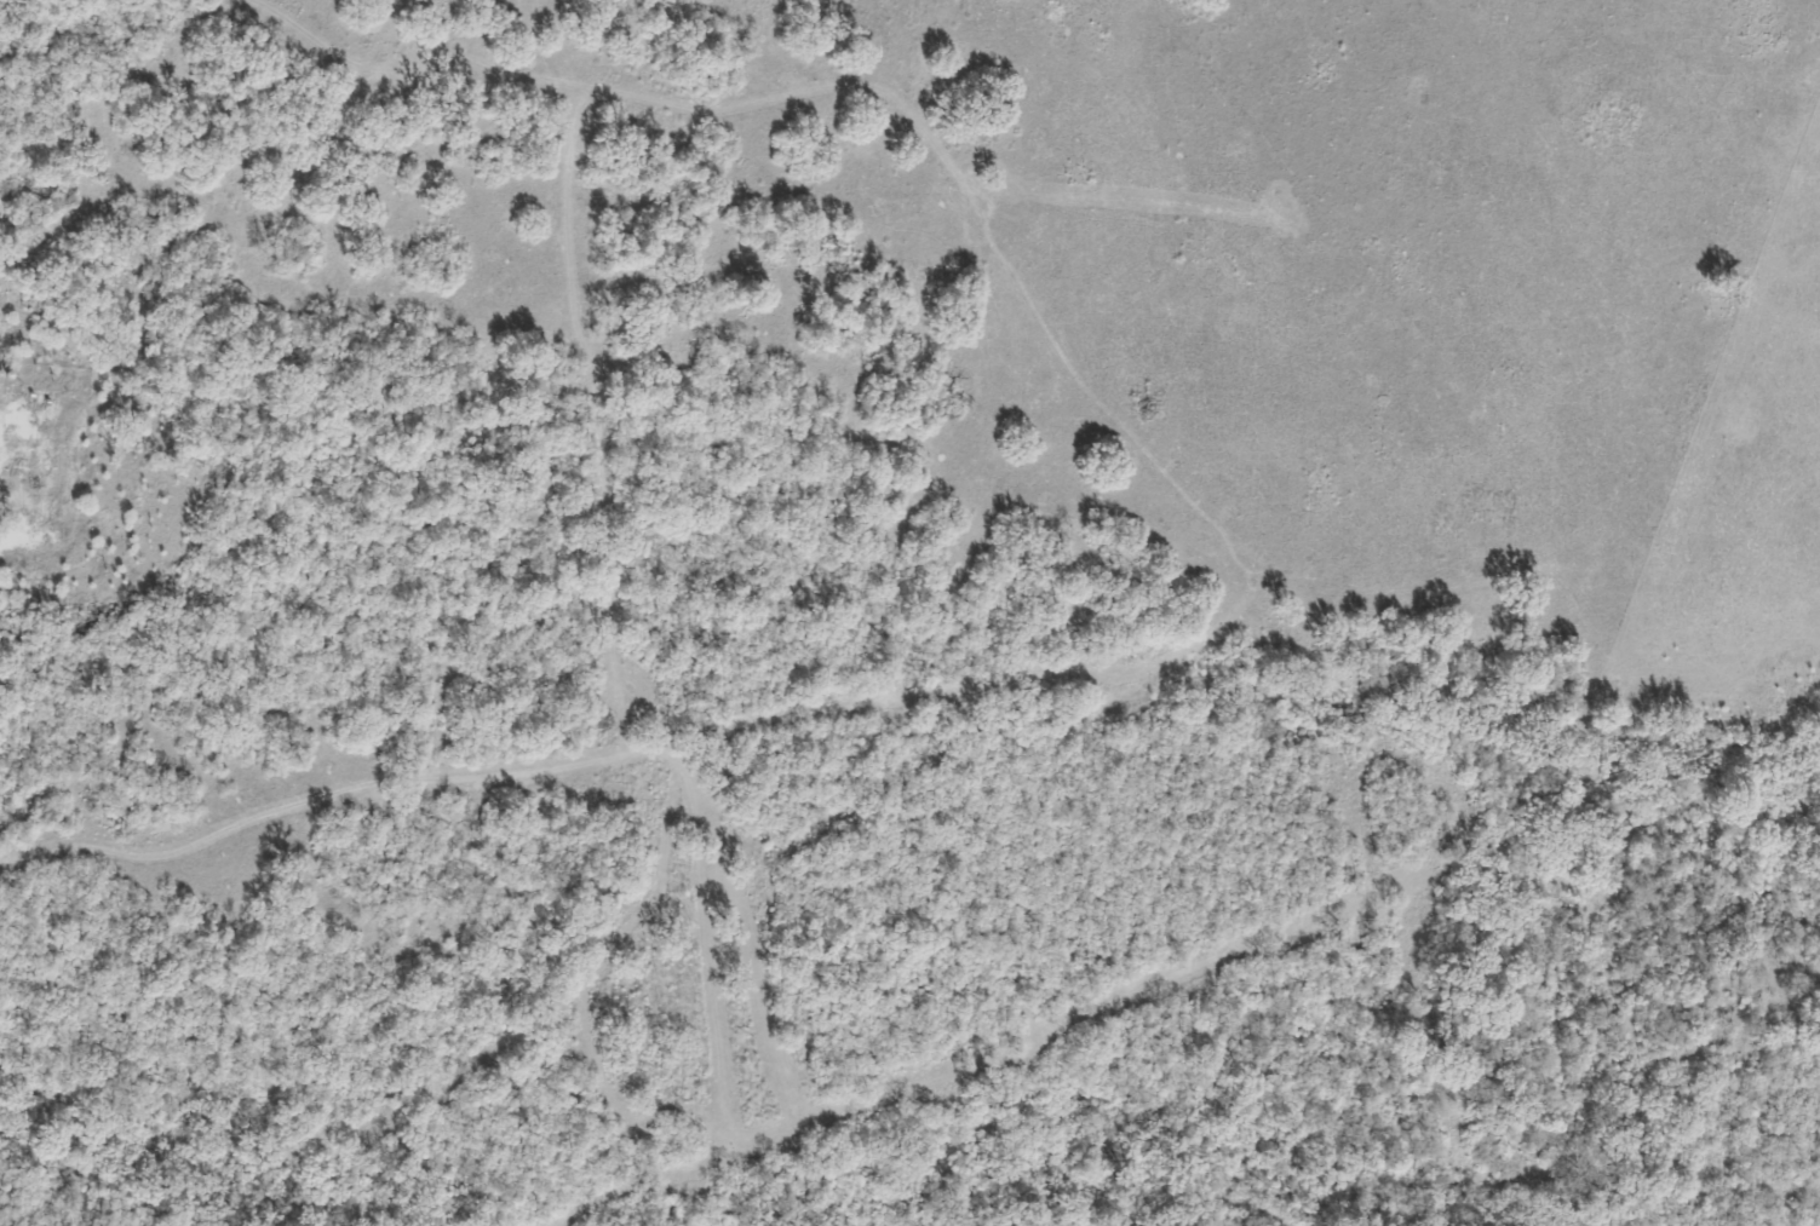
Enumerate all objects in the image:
road: (27, 542)

